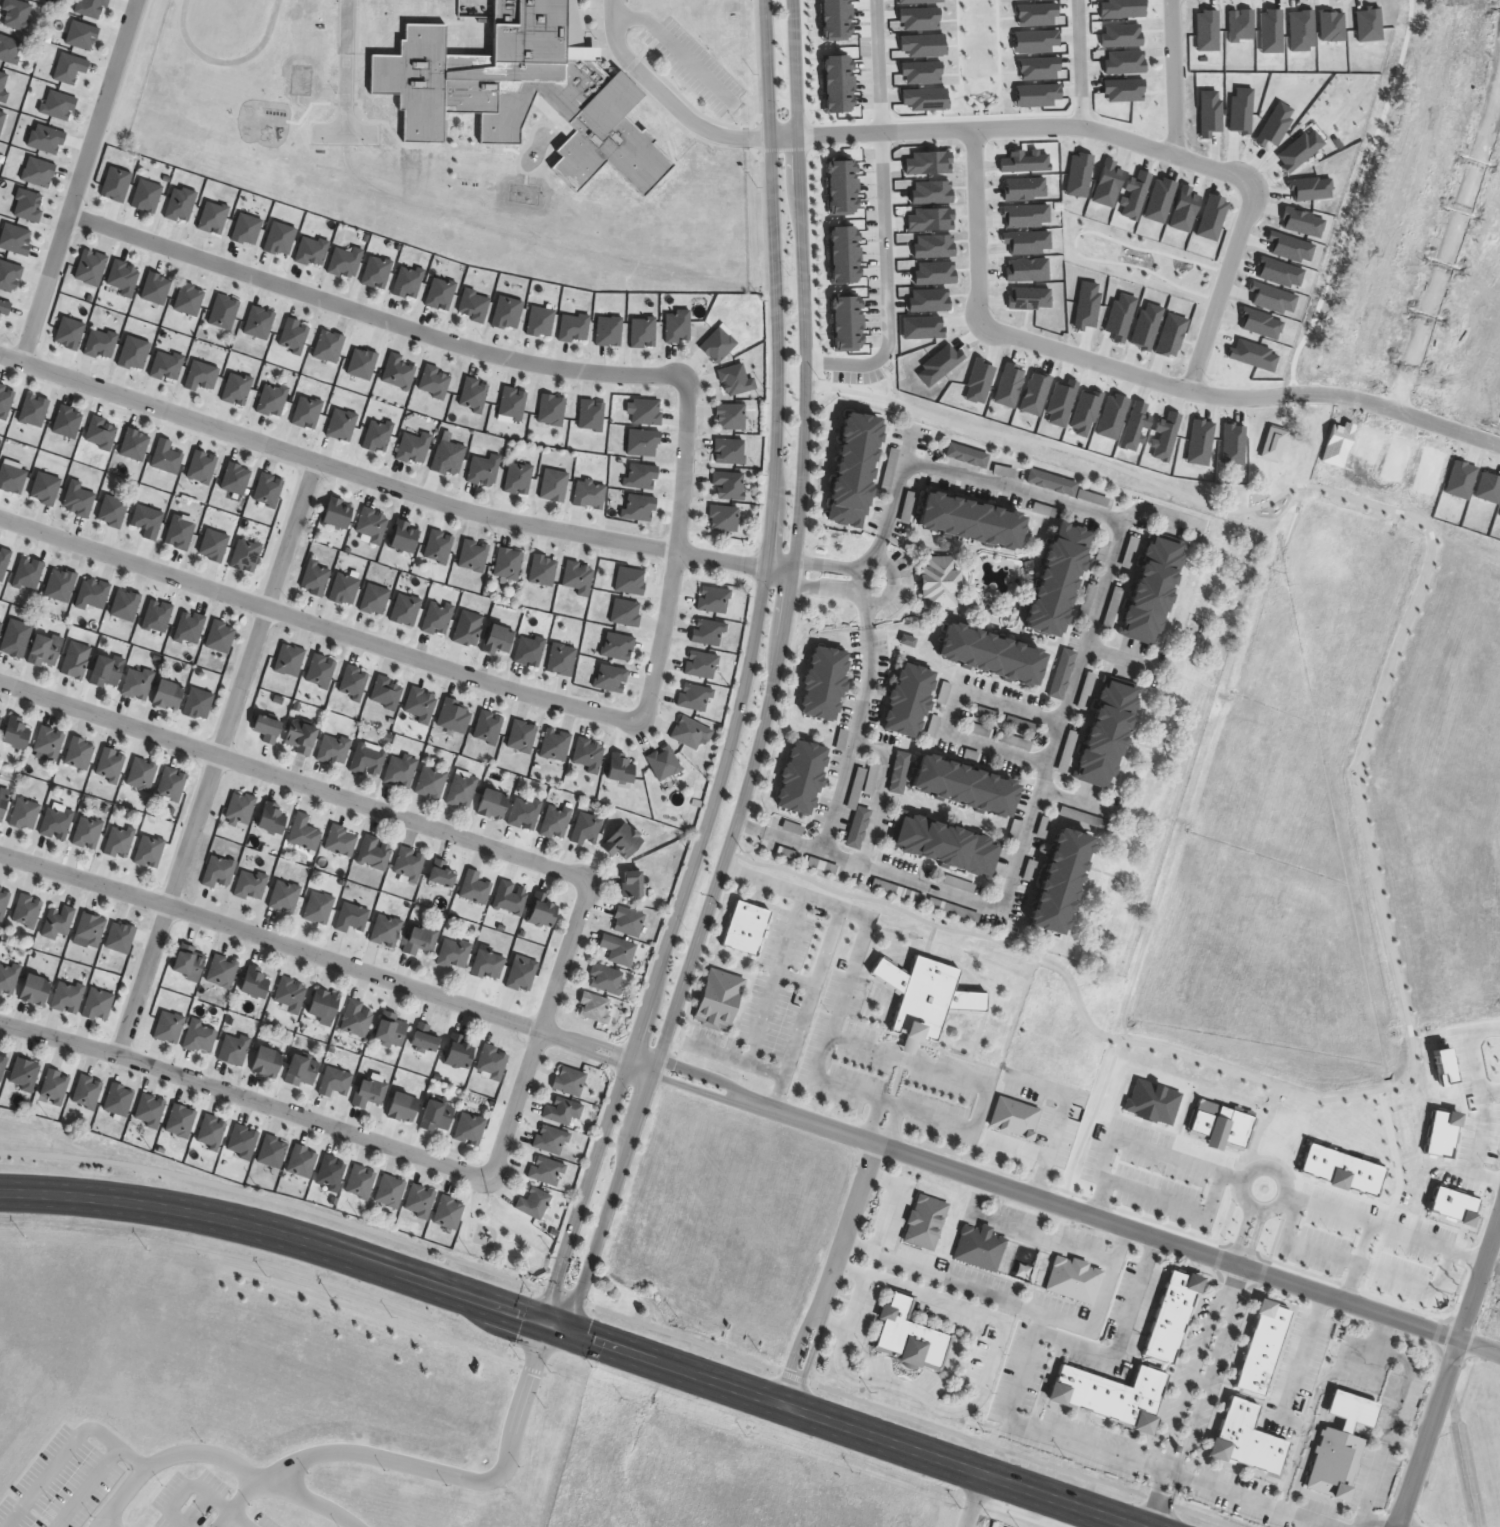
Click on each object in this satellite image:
road: (676, 48)
road: (1078, 63)
road: (878, 66)
road: (1172, 77)
building: (523, 91)
road: (664, 99)
road: (1030, 127)
road: (784, 136)
road: (80, 180)
road: (974, 225)
road: (1450, 241)
road: (884, 283)
road: (1219, 291)
road: (373, 315)
road: (1081, 359)
road: (1346, 398)
building: (307, 412)
building: (342, 425)
building: (378, 436)
building: (414, 448)
building: (968, 455)
building: (449, 458)
building: (484, 470)
building: (851, 470)
building: (643, 476)
building: (518, 478)
building: (1052, 482)
road: (390, 484)
building: (554, 485)
building: (590, 494)
building: (640, 508)
building: (109, 509)
road: (1152, 511)
building: (336, 513)
building: (144, 519)
building: (966, 521)
building: (372, 525)
building: (176, 531)
building: (210, 544)
building: (439, 547)
road: (682, 549)
building: (242, 553)
building: (474, 556)
building: (508, 564)
building: (543, 570)
building: (579, 577)
building: (316, 578)
road: (857, 579)
building: (1053, 581)
building: (57, 583)
road: (890, 583)
building: (937, 583)
building: (1149, 589)
building: (89, 593)
building: (375, 600)
building: (714, 600)
building: (122, 603)
building: (406, 610)
building: (626, 613)
building: (153, 615)
building: (438, 618)
road: (320, 624)
building: (186, 627)
building: (468, 628)
building: (709, 632)
building: (216, 635)
building: (498, 640)
building: (619, 646)
building: (43, 650)
building: (529, 651)
building: (987, 655)
road: (1115, 657)
building: (72, 659)
building: (290, 660)
building: (103, 670)
road: (750, 674)
road: (776, 679)
building: (134, 682)
road: (1071, 682)
building: (354, 683)
building: (824, 684)
building: (164, 694)
building: (907, 701)
building: (194, 702)
building: (421, 705)
road: (952, 711)
building: (455, 716)
road: (857, 716)
building: (266, 728)
building: (488, 728)
building: (15, 732)
building: (1105, 732)
building: (522, 736)
building: (301, 738)
building: (48, 744)
building: (556, 745)
building: (334, 750)
building: (79, 754)
building: (588, 755)
road: (216, 757)
building: (368, 761)
building: (664, 763)
building: (110, 765)
building: (622, 768)
building: (401, 771)
building: (900, 772)
building: (141, 775)
building: (801, 778)
building: (872, 779)
road: (294, 781)
building: (431, 782)
building: (172, 785)
building: (961, 787)
building: (463, 790)
road: (876, 792)
road: (1073, 802)
building: (492, 803)
building: (2, 804)
building: (240, 808)
building: (24, 814)
building: (525, 814)
building: (272, 818)
building: (556, 821)
building: (56, 823)
building: (859, 827)
building: (587, 829)
building: (87, 833)
building: (304, 833)
building: (341, 841)
building: (623, 841)
building: (119, 842)
building: (945, 846)
road: (1368, 846)
building: (149, 852)
building: (375, 853)
building: (410, 865)
building: (823, 865)
building: (219, 872)
building: (441, 873)
building: (1056, 882)
building: (632, 884)
building: (251, 885)
building: (476, 888)
building: (285, 896)
building: (511, 898)
building: (4, 901)
building: (319, 908)
building: (542, 909)
building: (26, 911)
building: (352, 918)
building: (57, 922)
building: (628, 922)
building: (89, 929)
building: (386, 931)
building: (120, 938)
building: (420, 940)
building: (618, 949)
building: (455, 953)
building: (186, 962)
building: (488, 965)
building: (221, 971)
building: (522, 973)
building: (8, 978)
building: (606, 979)
building: (254, 982)
building: (32, 989)
building: (291, 994)
road: (766, 995)
building: (67, 997)
building: (935, 999)
building: (97, 1005)
building: (322, 1006)
road: (804, 1006)
building: (595, 1007)
building: (356, 1019)
building: (168, 1027)
building: (389, 1030)
road: (542, 1031)
building: (200, 1037)
building: (422, 1042)
building: (234, 1049)
building: (458, 1051)
building: (265, 1062)
building: (492, 1062)
building: (3, 1064)
building: (301, 1071)
building: (24, 1075)
building: (570, 1081)
building: (335, 1082)
building: (54, 1086)
road: (841, 1086)
building: (86, 1092)
building: (369, 1092)
road: (246, 1099)
road: (751, 1099)
building: (118, 1101)
building: (401, 1107)
building: (149, 1111)
building: (563, 1111)
building: (436, 1116)
road: (871, 1118)
building: (180, 1121)
road: (890, 1125)
building: (470, 1129)
building: (211, 1132)
building: (552, 1140)
road: (1139, 1144)
road: (1037, 1151)
building: (302, 1161)
building: (547, 1171)
building: (331, 1173)
road: (1278, 1173)
building: (361, 1182)
building: (390, 1191)
road: (974, 1198)
building: (420, 1201)
building: (535, 1203)
road: (887, 1205)
building: (449, 1212)
road: (1254, 1212)
building: (925, 1222)
road: (1391, 1228)
road: (847, 1230)
road: (1237, 1235)
road: (1046, 1238)
road: (1251, 1240)
road: (1310, 1247)
building: (980, 1248)
road: (1483, 1261)
road: (941, 1276)
building: (1075, 1280)
road: (853, 1302)
road: (624, 1315)
traffic signals: (544, 1319)
building: (1180, 1319)
traffic signals: (572, 1329)
road: (581, 1332)
road: (1124, 1335)
building: (909, 1337)
building: (1272, 1349)
road: (791, 1356)
road: (1298, 1357)
road: (806, 1361)
road: (1192, 1364)
road: (1210, 1371)
road: (982, 1384)
building: (1122, 1397)
road: (1393, 1415)
road: (1435, 1419)
road: (1040, 1429)
building: (1256, 1441)
road: (1405, 1446)
building: (1338, 1447)
road: (166, 1453)
road: (421, 1468)
road: (92, 1475)
road: (182, 1486)
road: (305, 1498)
road: (1149, 1498)
road: (972, 1499)
road: (1167, 1504)
road: (236, 1519)
road: (101, 1520)
road: (1374, 1523)

